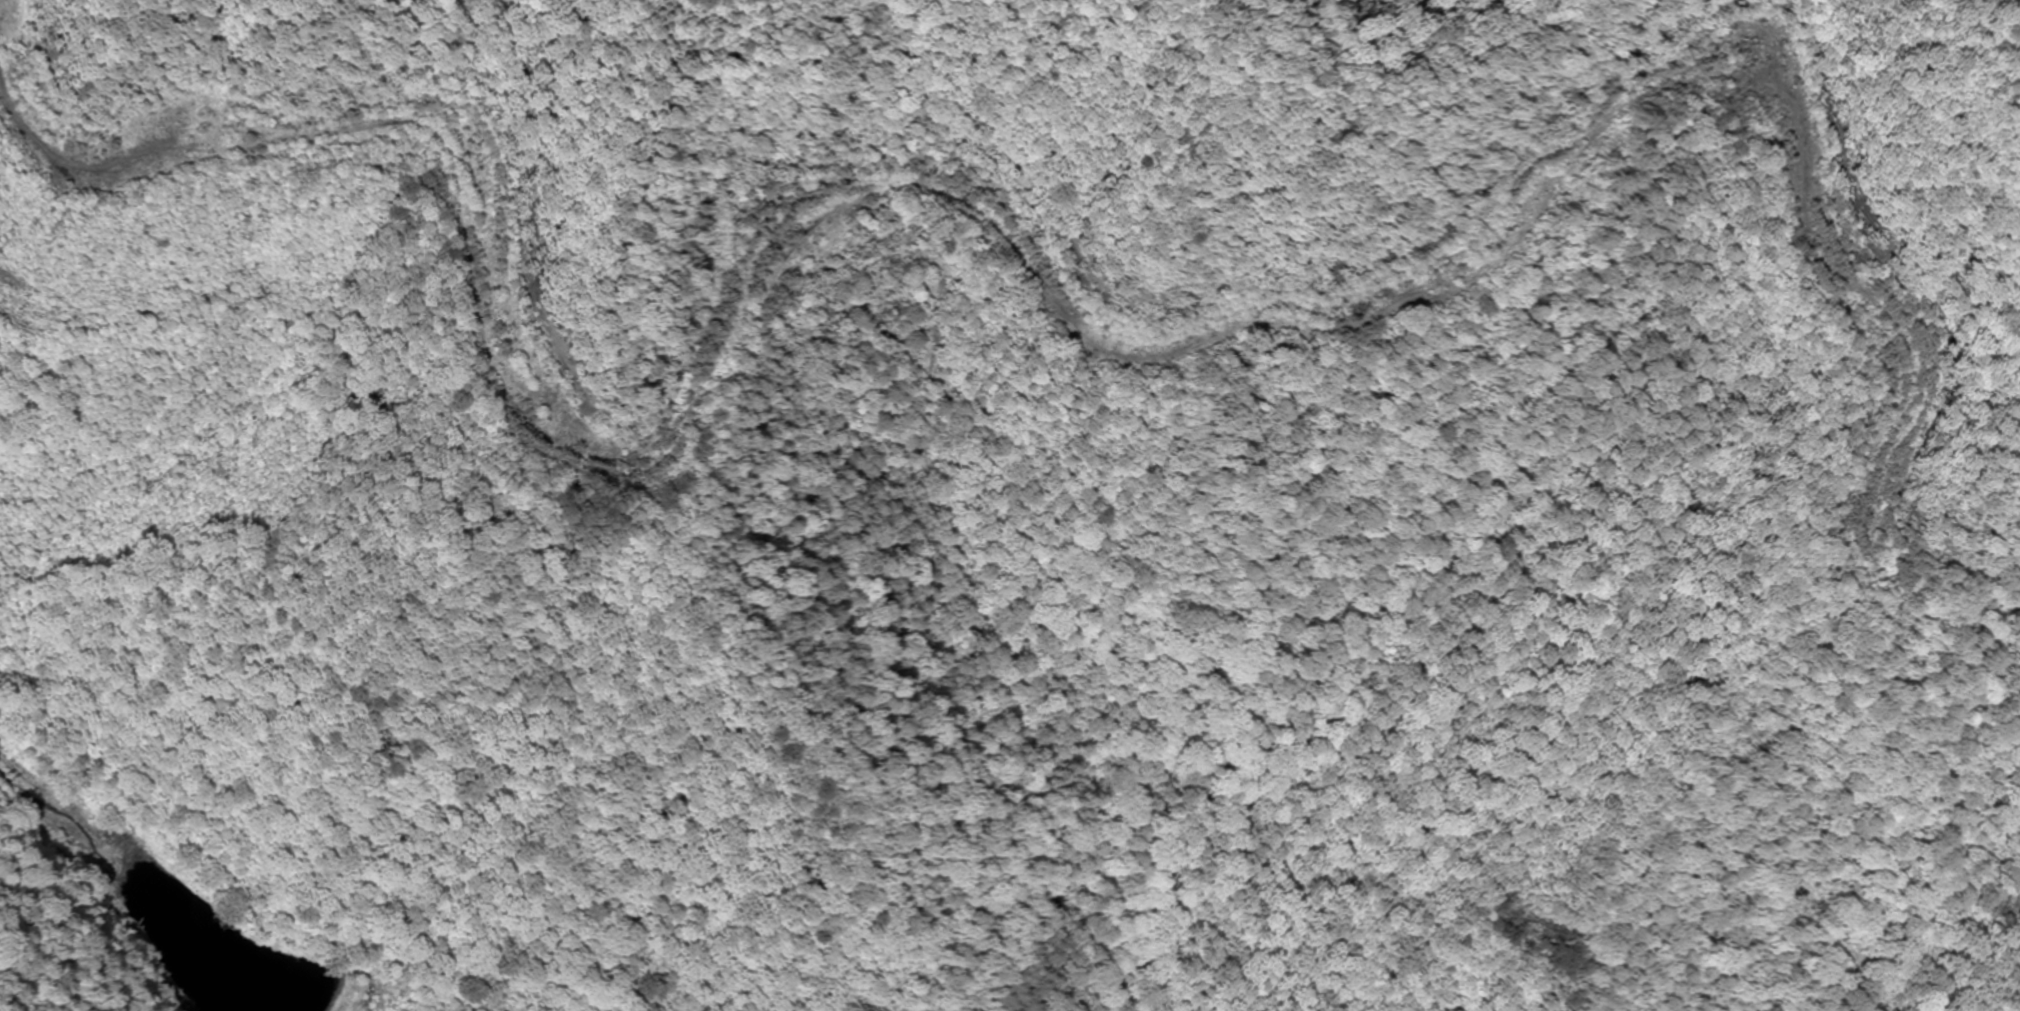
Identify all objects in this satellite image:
building: (82, 176)

